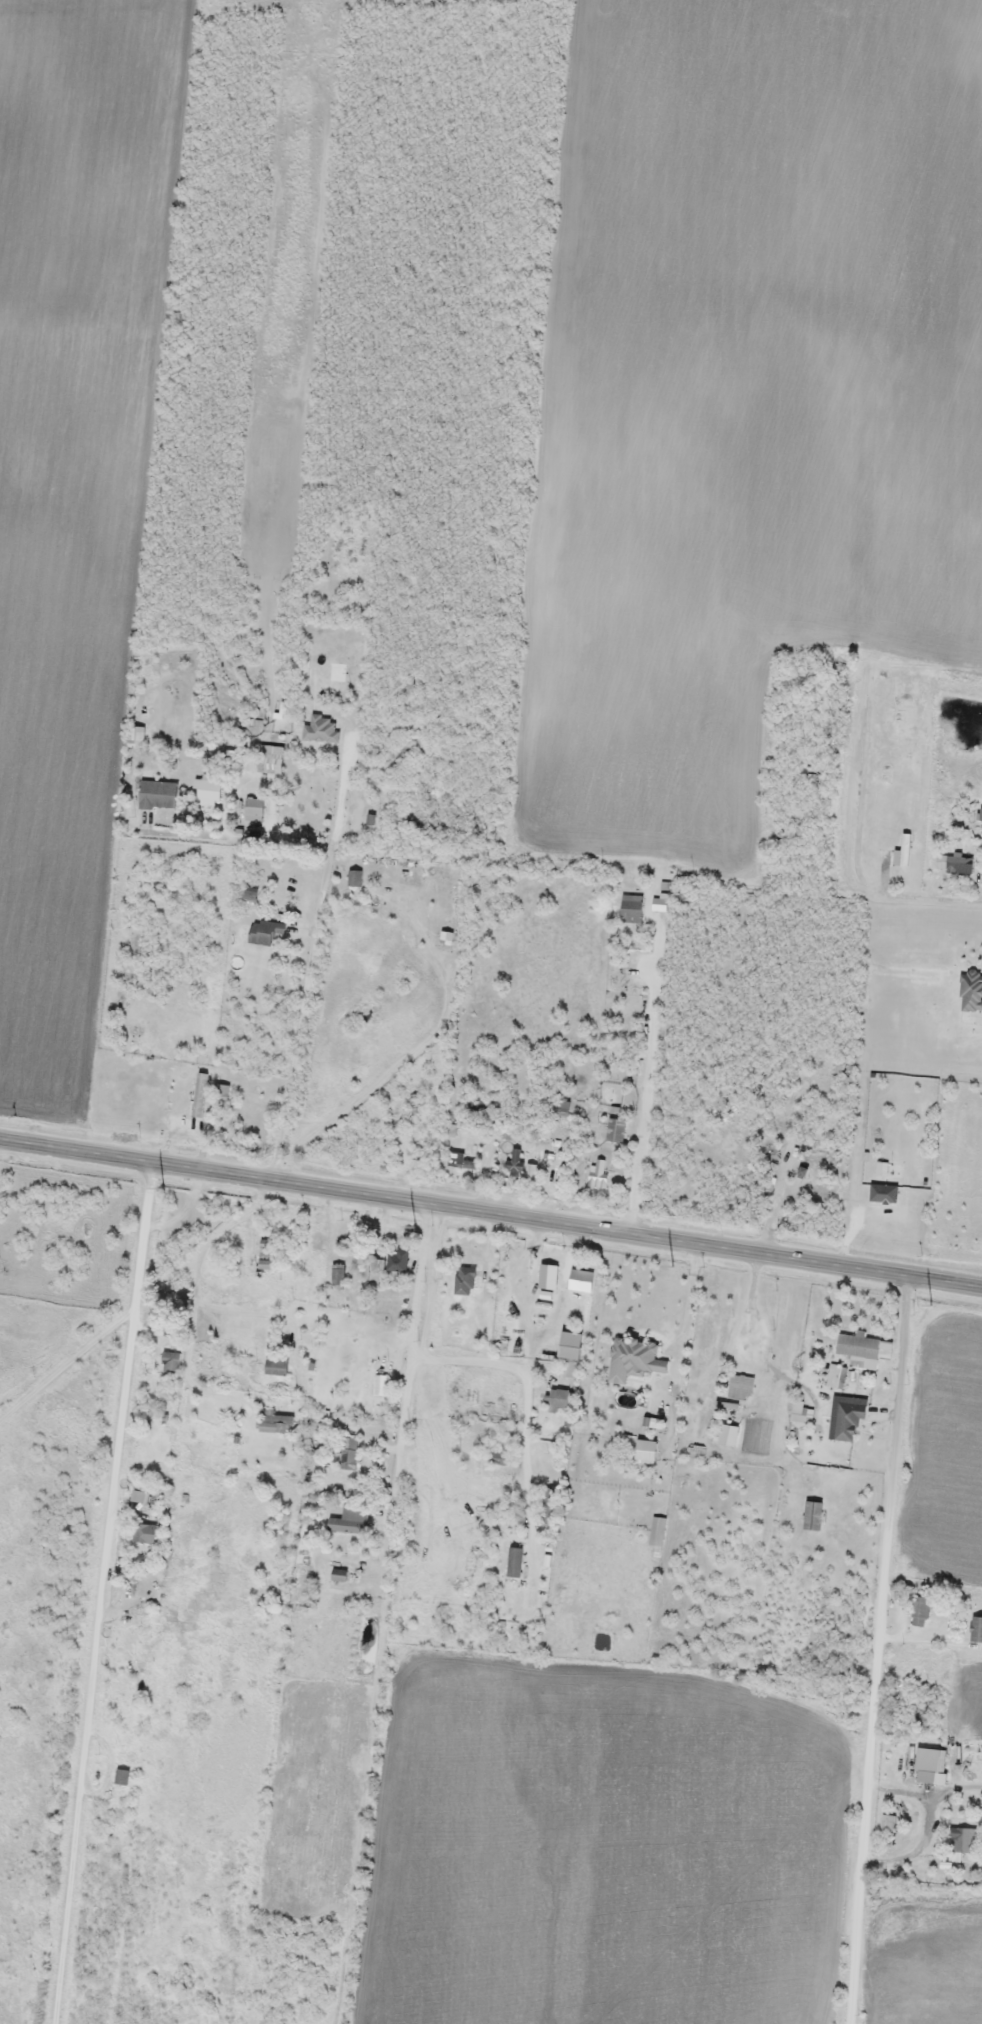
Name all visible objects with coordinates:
building: (137, 736)
building: (271, 763)
building: (210, 786)
building: (159, 794)
building: (255, 805)
building: (927, 828)
building: (955, 863)
building: (355, 877)
road: (929, 897)
building: (632, 908)
building: (266, 931)
building: (448, 937)
building: (971, 991)
building: (616, 1065)
building: (118, 1090)
building: (222, 1091)
road: (646, 1098)
building: (414, 1104)
building: (156, 1108)
building: (564, 1111)
building: (617, 1130)
road: (816, 1130)
building: (516, 1161)
building: (465, 1163)
building: (531, 1171)
building: (600, 1173)
road: (491, 1213)
building: (267, 1252)
building: (398, 1260)
building: (339, 1274)
road: (240, 1275)
building: (466, 1280)
building: (582, 1280)
building: (383, 1313)
building: (864, 1346)
building: (633, 1354)
building: (172, 1361)
road: (412, 1365)
building: (241, 1366)
building: (277, 1366)
road: (523, 1368)
building: (571, 1368)
building: (839, 1377)
building: (380, 1384)
building: (741, 1386)
building: (559, 1399)
building: (849, 1420)
building: (281, 1422)
building: (729, 1434)
building: (349, 1453)
building: (500, 1455)
building: (143, 1490)
building: (549, 1505)
building: (351, 1520)
building: (658, 1530)
building: (144, 1532)
building: (515, 1561)
road: (101, 1592)
building: (921, 1611)
building: (977, 1628)
road: (880, 1651)
building: (931, 1760)
building: (123, 1775)
building: (964, 1839)
park: (278, 2020)

